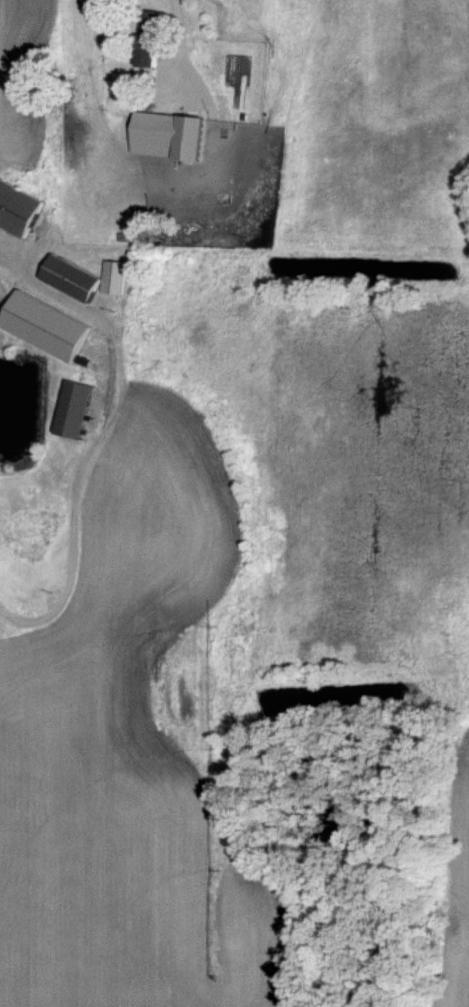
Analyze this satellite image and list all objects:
building: (148, 36)
building: (171, 130)
road: (434, 141)
building: (18, 206)
road: (3, 255)
building: (71, 276)
building: (114, 276)
building: (45, 324)
building: (74, 407)
road: (89, 438)
road: (305, 573)

